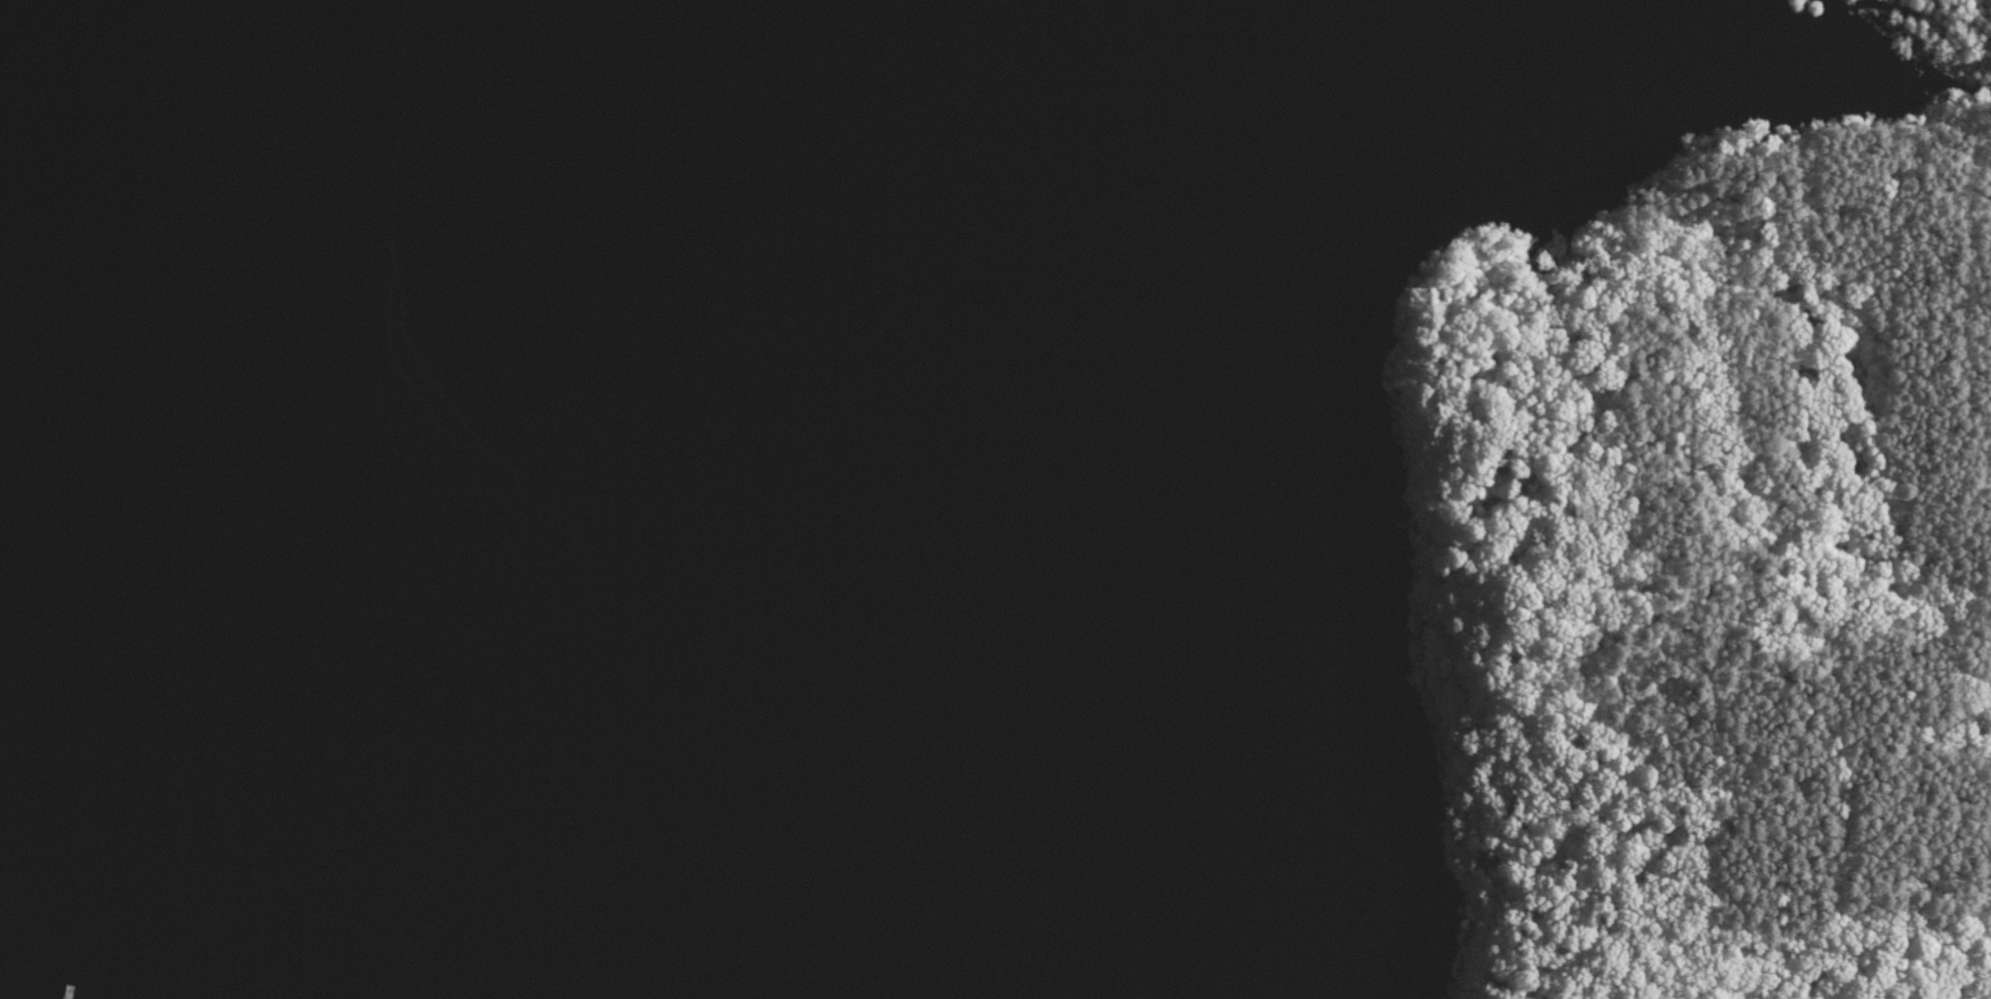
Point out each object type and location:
river: (624, 498)
pier: (75, 990)

